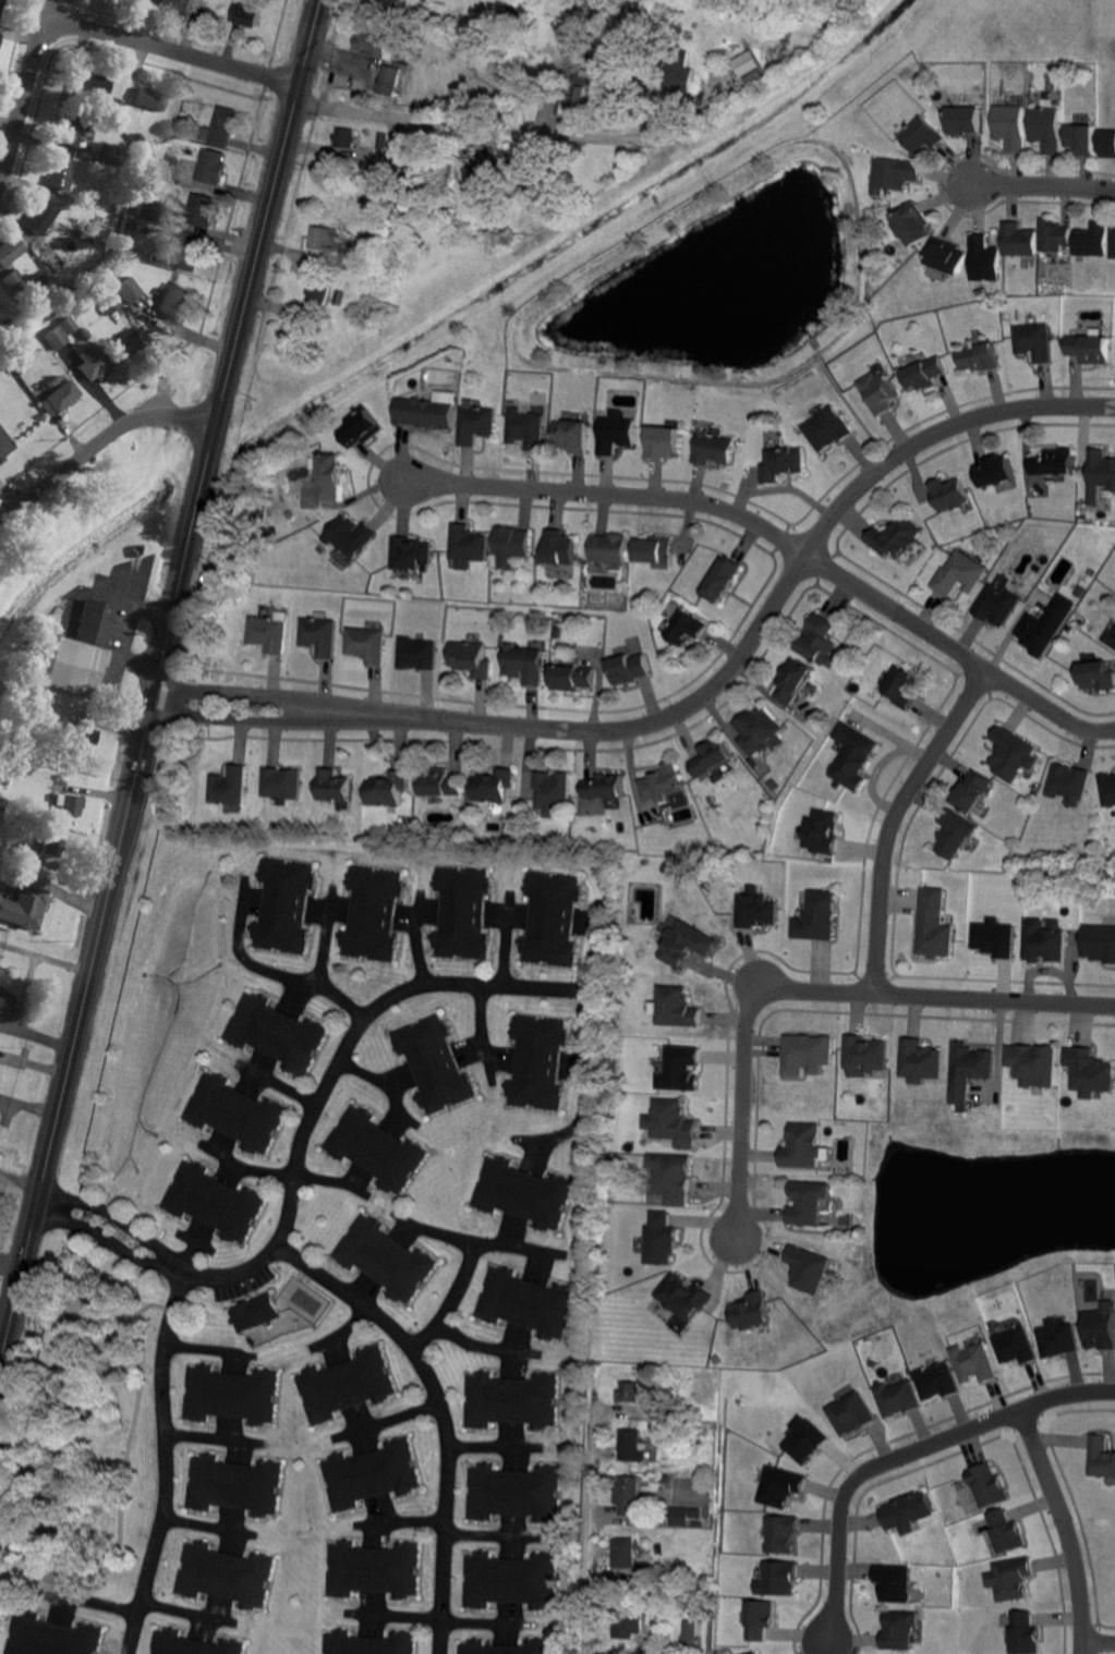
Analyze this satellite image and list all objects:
building: (389, 2)
building: (1, 3)
building: (180, 3)
building: (693, 3)
building: (520, 9)
building: (785, 9)
building: (808, 10)
building: (247, 14)
road: (311, 35)
building: (439, 36)
building: (373, 41)
road: (171, 50)
building: (748, 65)
building: (679, 71)
building: (391, 80)
building: (92, 83)
building: (605, 87)
road: (24, 90)
building: (575, 93)
building: (149, 98)
building: (111, 100)
building: (185, 117)
building: (98, 120)
building: (966, 120)
building: (225, 125)
road: (485, 125)
building: (1011, 126)
building: (1046, 127)
building: (71, 129)
building: (922, 135)
building: (137, 136)
building: (343, 137)
building: (1081, 137)
building: (383, 139)
building: (1107, 142)
building: (111, 154)
building: (153, 154)
building: (214, 166)
building: (165, 169)
building: (60, 172)
building: (487, 172)
building: (896, 173)
building: (517, 174)
road: (1042, 190)
building: (143, 207)
building: (565, 208)
building: (202, 210)
building: (41, 216)
building: (912, 223)
building: (94, 226)
building: (1052, 235)
building: (323, 238)
building: (1017, 241)
building: (1090, 241)
building: (1112, 243)
building: (10, 250)
building: (190, 252)
building: (945, 256)
building: (158, 258)
building: (349, 258)
building: (982, 259)
building: (40, 277)
building: (13, 280)
building: (161, 281)
building: (126, 289)
building: (318, 291)
building: (109, 301)
building: (174, 301)
building: (384, 305)
building: (7, 326)
building: (43, 328)
building: (59, 333)
road: (238, 335)
building: (1032, 340)
building: (125, 346)
building: (1088, 346)
building: (979, 355)
building: (3, 363)
building: (94, 363)
building: (923, 372)
building: (877, 391)
building: (59, 398)
building: (427, 412)
building: (478, 423)
building: (528, 426)
building: (828, 426)
building: (362, 427)
building: (617, 433)
building: (573, 435)
building: (664, 440)
building: (4, 445)
road: (99, 446)
building: (714, 447)
building: (1054, 461)
building: (781, 462)
building: (995, 471)
building: (1101, 472)
building: (332, 477)
building: (949, 492)
building: (352, 536)
road: (784, 536)
building: (896, 537)
building: (514, 539)
building: (470, 542)
building: (561, 546)
building: (610, 547)
building: (656, 549)
building: (412, 554)
building: (960, 574)
building: (723, 579)
building: (997, 605)
building: (93, 620)
building: (686, 625)
building: (1045, 625)
road: (756, 630)
building: (268, 631)
building: (320, 635)
building: (820, 639)
building: (1110, 639)
building: (367, 643)
building: (419, 652)
building: (472, 656)
building: (525, 661)
building: (72, 666)
building: (629, 667)
building: (572, 676)
building: (1098, 676)
building: (795, 680)
building: (904, 688)
road: (251, 692)
road: (247, 719)
building: (759, 728)
building: (76, 741)
building: (1011, 755)
building: (712, 756)
building: (852, 756)
building: (282, 781)
building: (440, 781)
building: (662, 781)
building: (494, 783)
building: (603, 783)
building: (1068, 783)
building: (229, 785)
building: (332, 786)
building: (388, 788)
building: (1107, 790)
building: (553, 791)
building: (971, 792)
building: (4, 802)
building: (71, 804)
road: (887, 822)
building: (823, 832)
building: (954, 834)
building: (51, 844)
road: (121, 846)
building: (284, 903)
building: (23, 907)
building: (756, 910)
building: (462, 911)
building: (373, 913)
building: (550, 917)
building: (816, 917)
building: (933, 926)
building: (993, 936)
building: (1045, 941)
building: (686, 944)
building: (1099, 944)
road: (267, 970)
building: (1, 975)
road: (808, 993)
building: (2, 1000)
building: (677, 1008)
road: (475, 1020)
building: (276, 1031)
building: (805, 1055)
building: (864, 1056)
building: (536, 1060)
building: (919, 1061)
building: (434, 1062)
road: (338, 1063)
building: (1034, 1065)
road: (584, 1066)
building: (680, 1069)
building: (968, 1072)
building: (1089, 1072)
road: (29, 1100)
building: (237, 1111)
building: (671, 1123)
building: (801, 1147)
building: (376, 1150)
road: (48, 1163)
road: (21, 1177)
building: (672, 1177)
road: (326, 1178)
building: (522, 1192)
building: (215, 1200)
building: (808, 1203)
building: (845, 1220)
road: (114, 1230)
road: (435, 1231)
building: (659, 1240)
building: (385, 1258)
road: (12, 1262)
road: (470, 1264)
building: (808, 1269)
building: (683, 1297)
building: (525, 1301)
road: (15, 1302)
building: (255, 1311)
building: (750, 1312)
building: (1101, 1329)
building: (1057, 1339)
road: (476, 1345)
building: (1016, 1347)
building: (973, 1363)
building: (936, 1382)
building: (346, 1385)
building: (660, 1387)
building: (632, 1390)
building: (232, 1395)
building: (897, 1398)
building: (510, 1399)
road: (443, 1413)
building: (851, 1414)
building: (676, 1425)
building: (660, 1426)
road: (213, 1436)
building: (804, 1443)
road: (483, 1445)
building: (632, 1445)
road: (902, 1454)
building: (1101, 1457)
road: (166, 1463)
building: (371, 1474)
building: (664, 1476)
building: (235, 1485)
building: (989, 1485)
building: (780, 1487)
building: (513, 1493)
building: (627, 1493)
building: (907, 1510)
building: (694, 1513)
road: (405, 1519)
building: (695, 1524)
road: (587, 1525)
road: (1064, 1529)
road: (483, 1533)
building: (1006, 1533)
building: (781, 1534)
building: (626, 1552)
building: (373, 1569)
building: (226, 1576)
building: (778, 1579)
building: (1011, 1579)
building: (509, 1580)
building: (894, 1583)
building: (702, 1590)
road: (94, 1600)
building: (703, 1605)
road: (180, 1610)
road: (437, 1618)
building: (760, 1619)
building: (629, 1625)
building: (899, 1630)
building: (1025, 1633)
building: (52, 1637)
building: (689, 1637)
road: (1100, 1640)
building: (369, 1643)
building: (193, 1644)
building: (505, 1647)
building: (754, 1653)

